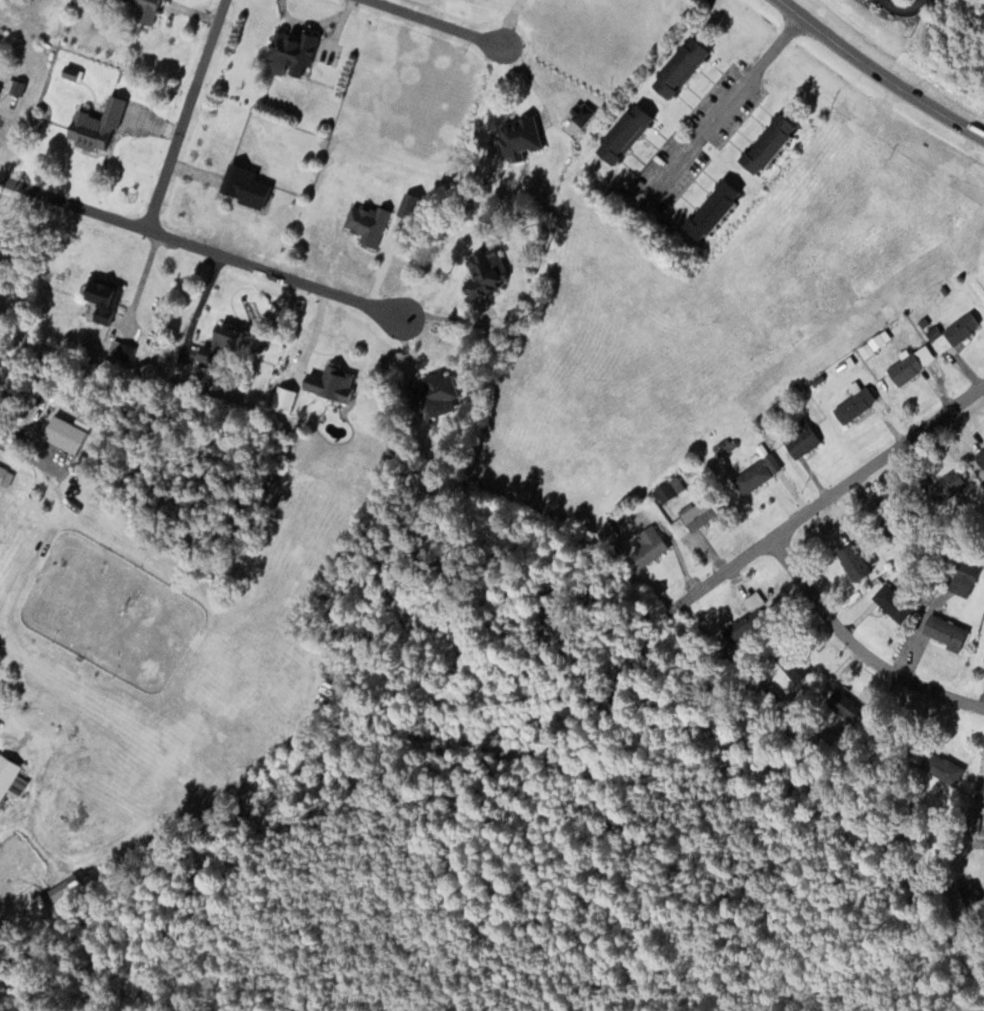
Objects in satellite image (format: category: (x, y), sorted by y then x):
road: (905, 5)
building: (144, 10)
road: (439, 25)
building: (290, 54)
building: (677, 67)
building: (67, 73)
road: (881, 73)
road: (725, 103)
road: (186, 113)
building: (93, 125)
building: (620, 133)
building: (517, 139)
building: (764, 143)
building: (243, 186)
building: (707, 209)
building: (365, 223)
road: (211, 248)
building: (482, 272)
building: (100, 297)
building: (954, 332)
building: (225, 339)
building: (910, 364)
building: (328, 383)
building: (435, 395)
building: (852, 405)
building: (799, 441)
building: (755, 474)
building: (5, 476)
building: (663, 491)
road: (826, 499)
building: (690, 516)
building: (603, 530)
building: (643, 554)
building: (851, 561)
building: (962, 578)
building: (754, 601)
building: (893, 605)
building: (942, 632)
road: (859, 646)
building: (983, 660)
building: (793, 666)
building: (770, 699)
building: (842, 704)
building: (938, 766)
building: (982, 790)
building: (55, 892)
building: (969, 892)

